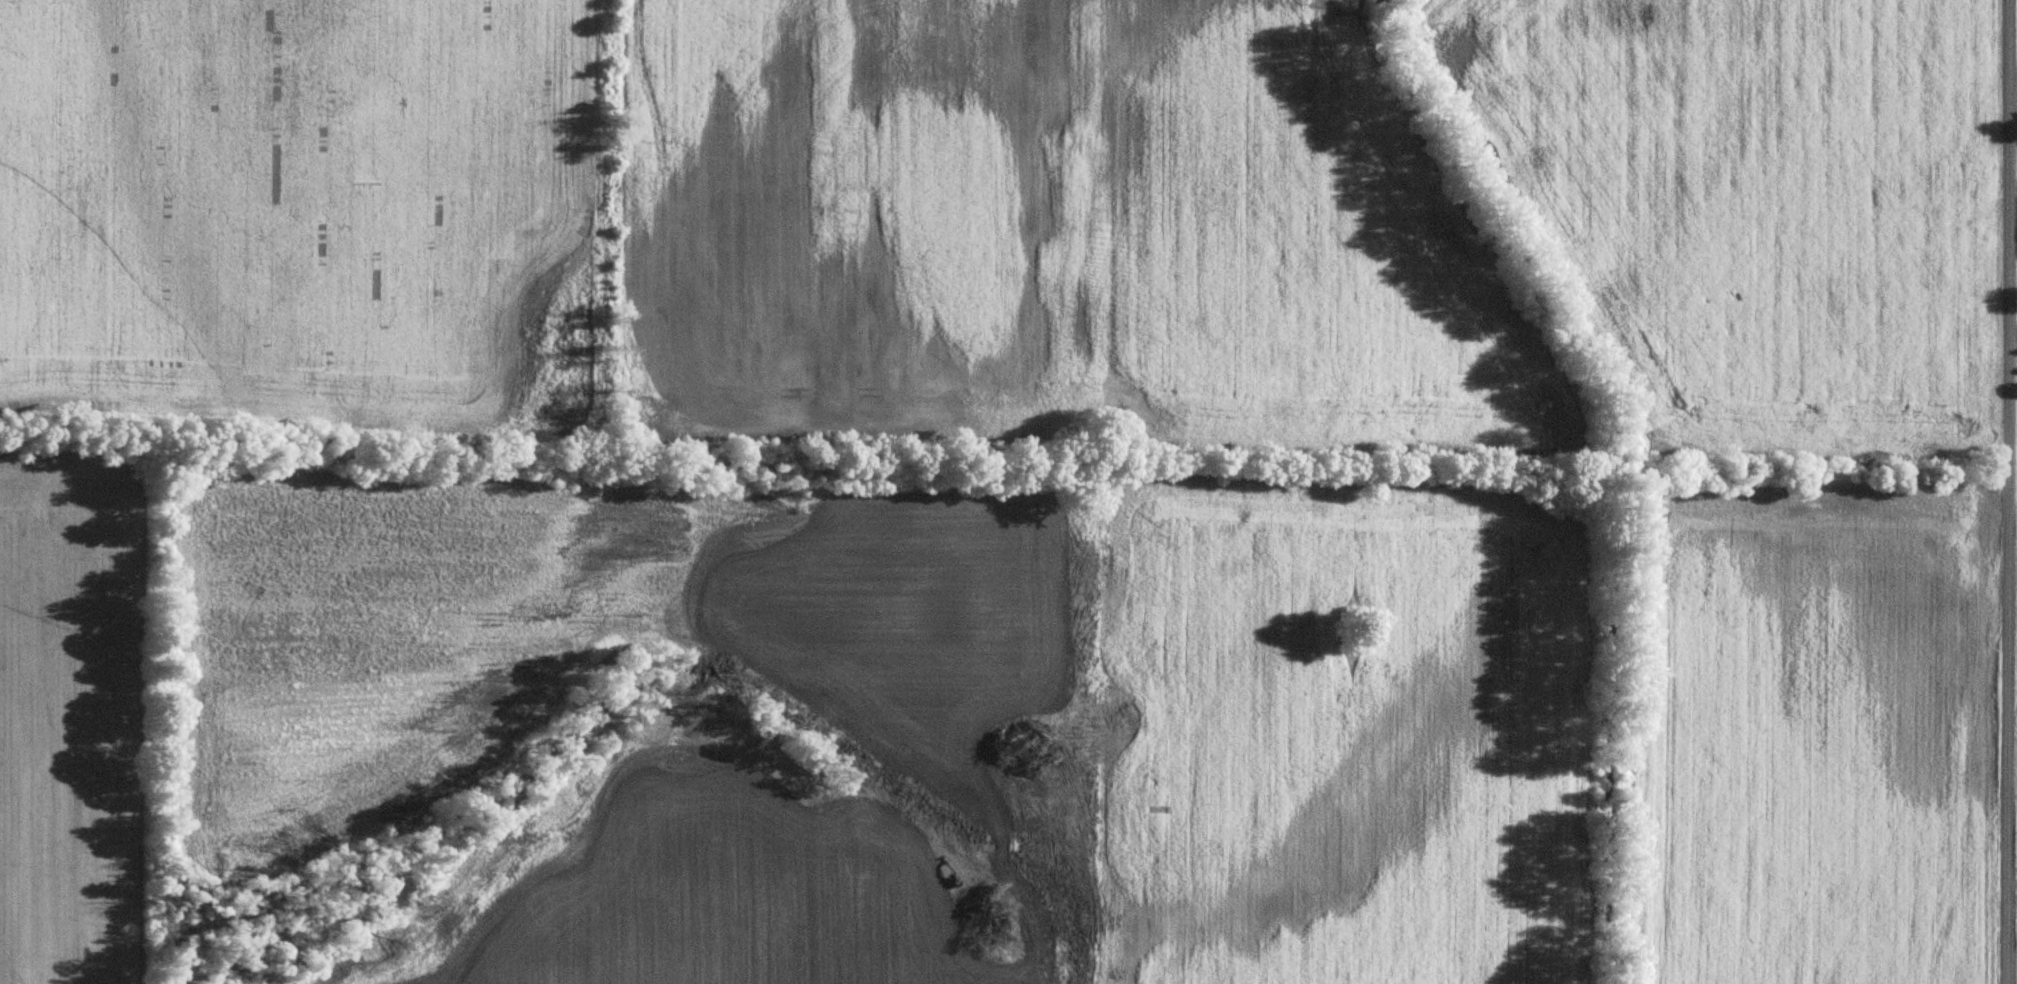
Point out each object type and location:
road: (2008, 492)

